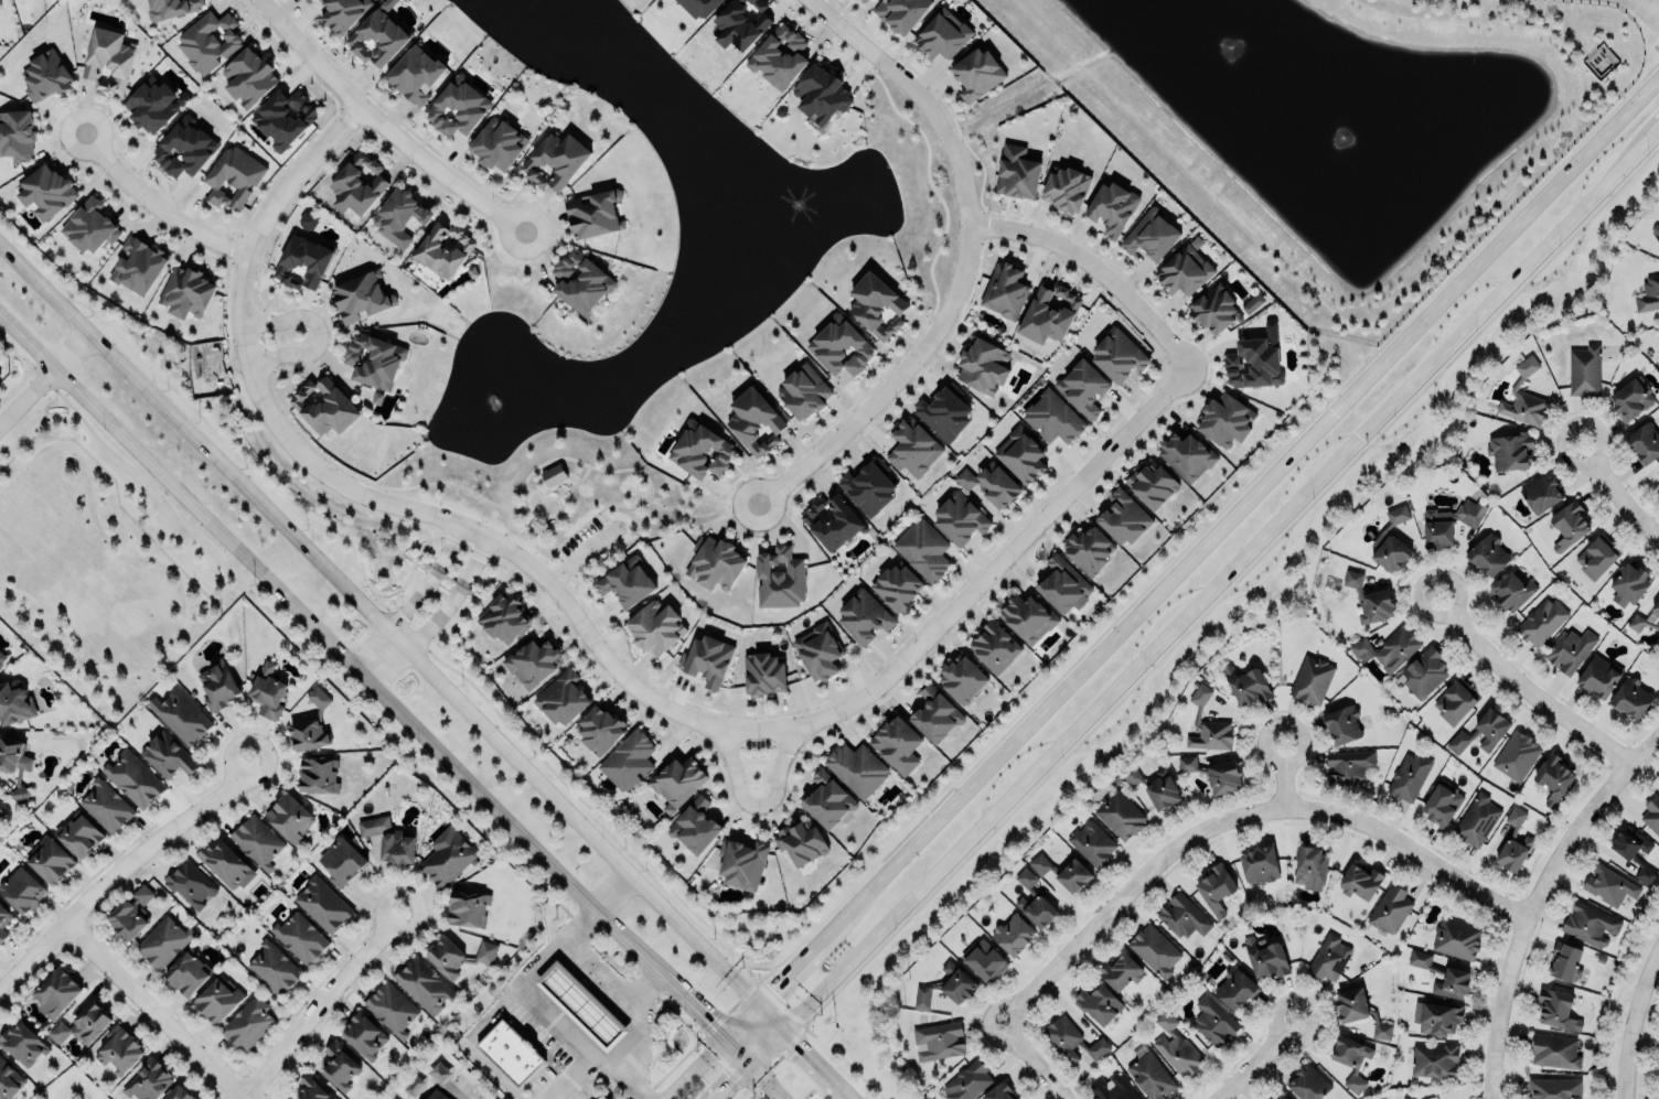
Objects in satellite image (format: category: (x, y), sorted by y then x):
building: (864, 0)
building: (697, 7)
building: (172, 8)
road: (1648, 11)
building: (343, 12)
building: (900, 13)
building: (740, 23)
building: (942, 32)
building: (377, 35)
building: (207, 41)
fountain: (1221, 44)
building: (778, 53)
building: (108, 61)
building: (976, 73)
building: (414, 74)
building: (249, 75)
building: (44, 76)
building: (820, 93)
road: (919, 93)
building: (152, 104)
building: (458, 107)
building: (283, 118)
road: (381, 123)
fountain: (1320, 131)
building: (17, 133)
road: (1646, 139)
building: (496, 144)
building: (184, 147)
building: (554, 161)
road: (291, 169)
building: (1017, 171)
building: (232, 177)
building: (357, 184)
building: (1066, 187)
building: (46, 190)
road: (157, 204)
building: (1112, 206)
building: (593, 214)
building: (398, 215)
building: (307, 220)
building: (89, 226)
building: (1656, 231)
building: (1150, 234)
building: (443, 250)
building: (303, 260)
building: (138, 266)
road: (1089, 267)
building: (1184, 270)
building: (580, 280)
building: (186, 290)
building: (1005, 290)
building: (1648, 294)
building: (361, 295)
building: (1252, 303)
building: (876, 305)
building: (1213, 308)
building: (1048, 314)
road: (317, 332)
building: (841, 347)
building: (1117, 352)
building: (373, 359)
building: (1253, 363)
building: (983, 366)
building: (1582, 369)
building: (0, 371)
road: (44, 379)
road: (890, 380)
building: (1082, 388)
building: (803, 392)
building: (1524, 397)
building: (1630, 399)
building: (323, 406)
building: (943, 413)
building: (1052, 414)
road: (23, 419)
building: (1225, 419)
building: (754, 422)
building: (1644, 442)
building: (912, 448)
building: (700, 451)
building: (1510, 451)
building: (1021, 454)
building: (1187, 454)
road: (3, 475)
building: (553, 475)
road: (649, 482)
building: (1658, 483)
building: (989, 484)
building: (1152, 484)
building: (868, 487)
building: (1540, 489)
road: (1615, 491)
road: (443, 513)
park: (577, 513)
road: (700, 515)
building: (1123, 518)
building: (959, 519)
building: (831, 520)
building: (1449, 522)
building: (1567, 525)
road: (504, 531)
road: (1207, 540)
building: (1391, 540)
building: (923, 549)
building: (1088, 549)
road: (450, 551)
building: (1487, 554)
building: (1596, 557)
building: (714, 563)
road: (477, 564)
road: (981, 572)
building: (779, 578)
building: (1630, 580)
building: (627, 581)
building: (1062, 584)
building: (897, 586)
road: (180, 589)
road: (1209, 591)
building: (1511, 591)
building: (1370, 600)
building: (864, 616)
building: (1028, 616)
building: (504, 617)
building: (1645, 619)
building: (1541, 621)
road: (395, 624)
building: (654, 627)
road: (418, 642)
building: (994, 645)
building: (1389, 648)
building: (1570, 649)
building: (818, 650)
building: (1, 657)
building: (707, 659)
building: (532, 661)
road: (427, 670)
building: (763, 672)
building: (1422, 674)
building: (1597, 676)
building: (962, 678)
building: (1310, 679)
building: (1246, 685)
building: (217, 686)
road: (1522, 687)
building: (267, 691)
building: (561, 697)
building: (1628, 699)
building: (14, 702)
building: (1454, 702)
road: (394, 704)
building: (935, 714)
building: (180, 715)
road: (374, 723)
building: (1342, 723)
building: (1208, 724)
building: (599, 729)
building: (1478, 730)
building: (308, 734)
building: (897, 744)
building: (167, 755)
building: (1517, 755)
building: (628, 761)
building: (1185, 763)
building: (13, 764)
building: (1348, 766)
building: (856, 768)
road: (1282, 773)
building: (318, 775)
building: (1222, 776)
building: (1409, 776)
building: (133, 778)
building: (1553, 778)
building: (676, 780)
building: (1153, 787)
building: (827, 799)
road: (750, 800)
building: (1442, 804)
building: (105, 805)
building: (2, 809)
road: (1238, 810)
building: (1119, 814)
building: (1651, 815)
building: (288, 817)
building: (1477, 820)
building: (694, 826)
building: (78, 834)
building: (257, 840)
building: (801, 842)
building: (1513, 842)
building: (1091, 843)
building: (397, 845)
building: (1633, 852)
building: (49, 859)
building: (447, 859)
building: (341, 862)
building: (225, 863)
building: (741, 863)
building: (1259, 864)
building: (1309, 866)
road: (119, 868)
building: (1063, 872)
building: (1358, 881)
building: (190, 883)
building: (1609, 885)
building: (1216, 888)
building: (22, 890)
road: (1532, 895)
building: (1034, 901)
building: (323, 904)
building: (468, 908)
building: (1389, 909)
building: (131, 913)
building: (1182, 916)
building: (3, 922)
building: (1590, 924)
building: (1013, 934)
building: (300, 937)
building: (1455, 938)
building: (162, 942)
building: (1154, 950)
building: (459, 956)
building: (1266, 958)
building: (1328, 958)
building: (983, 959)
building: (1566, 962)
building: (274, 968)
road: (599, 969)
building: (1120, 970)
building: (186, 972)
building: (1455, 973)
building: (424, 985)
building: (945, 985)
road: (525, 987)
building: (1235, 989)
building: (55, 992)
building: (217, 1001)
traffic signals: (757, 1003)
building: (1098, 1003)
road: (314, 1004)
building: (581, 1005)
building: (390, 1008)
building: (1555, 1010)
road: (149, 1011)
building: (1358, 1011)
building: (1436, 1016)
building: (1211, 1020)
road: (1635, 1022)
building: (247, 1023)
building: (83, 1024)
traffic signals: (783, 1028)
road: (631, 1034)
building: (364, 1036)
traffic signals: (725, 1038)
building: (1071, 1039)
road: (465, 1041)
building: (22, 1042)
building: (938, 1042)
building: (1176, 1047)
building: (119, 1049)
road: (1651, 1049)
building: (1554, 1050)
road: (711, 1052)
building: (510, 1053)
road: (1037, 1057)
road: (610, 1059)
road: (1252, 1059)
building: (1428, 1059)
building: (1351, 1060)
road: (749, 1063)
traffic signals: (749, 1064)
building: (339, 1066)
road: (767, 1070)
building: (1148, 1074)
building: (9, 1080)
building: (147, 1080)
building: (966, 1081)
building: (1308, 1084)
building: (313, 1088)
building: (1112, 1088)
building: (1554, 1088)
building: (998, 1091)
building: (179, 1093)
building: (437, 1095)
building: (601, 1097)
building: (1280, 1097)
building: (1271, 1098)
building: (1409, 1098)

